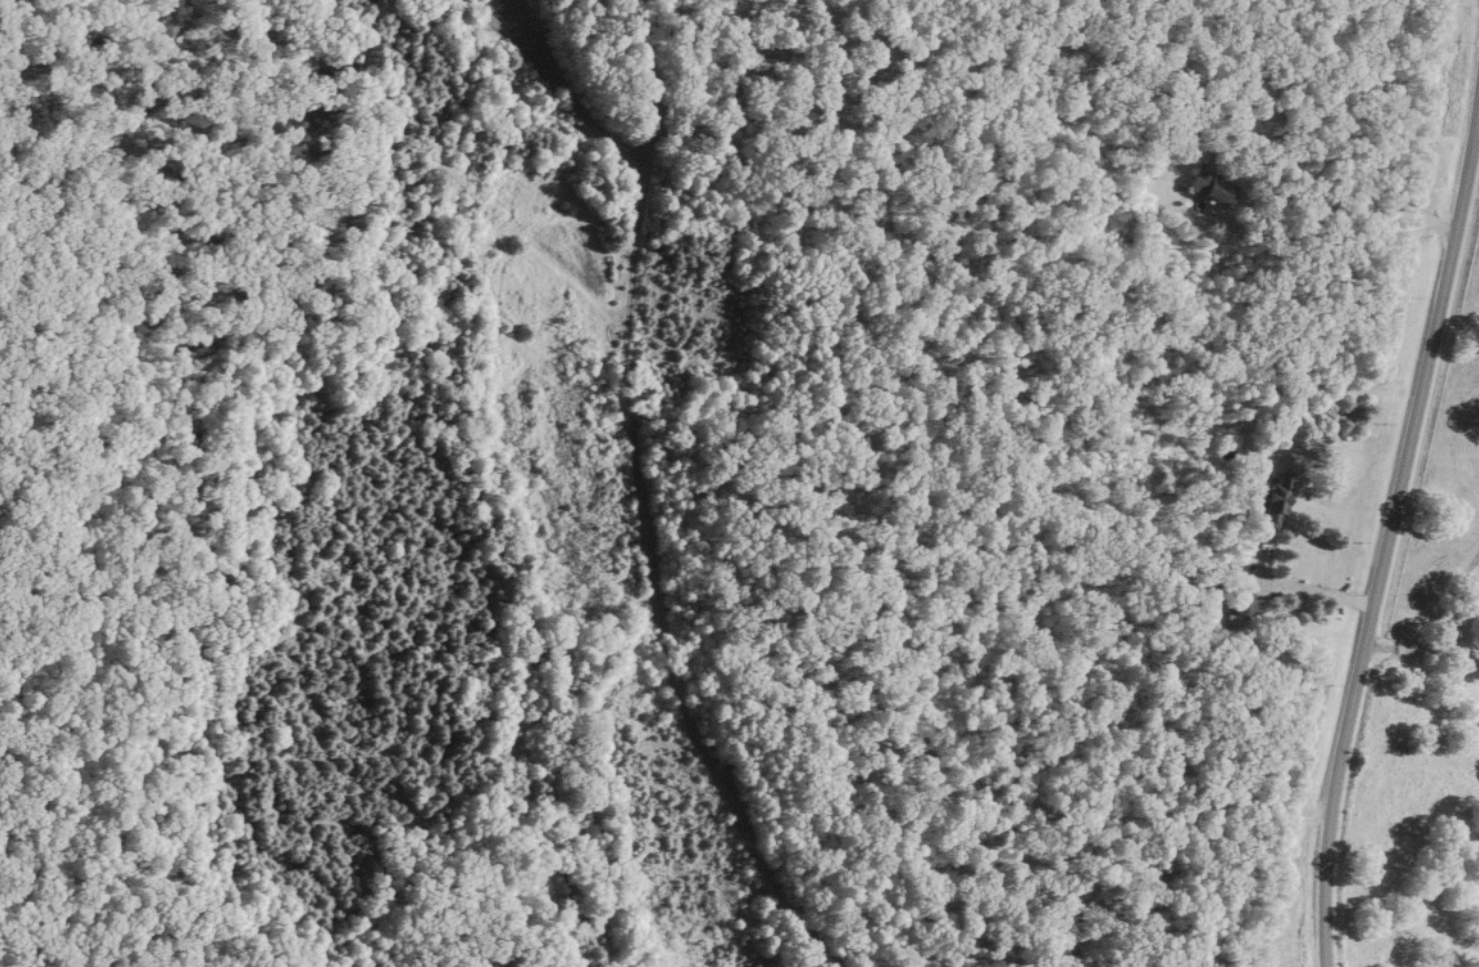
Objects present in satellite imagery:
road: (1320, 185)
building: (1208, 188)
building: (1269, 502)
road: (1387, 546)
road: (1318, 592)
building: (1205, 612)
building: (1236, 615)
road: (1437, 623)

